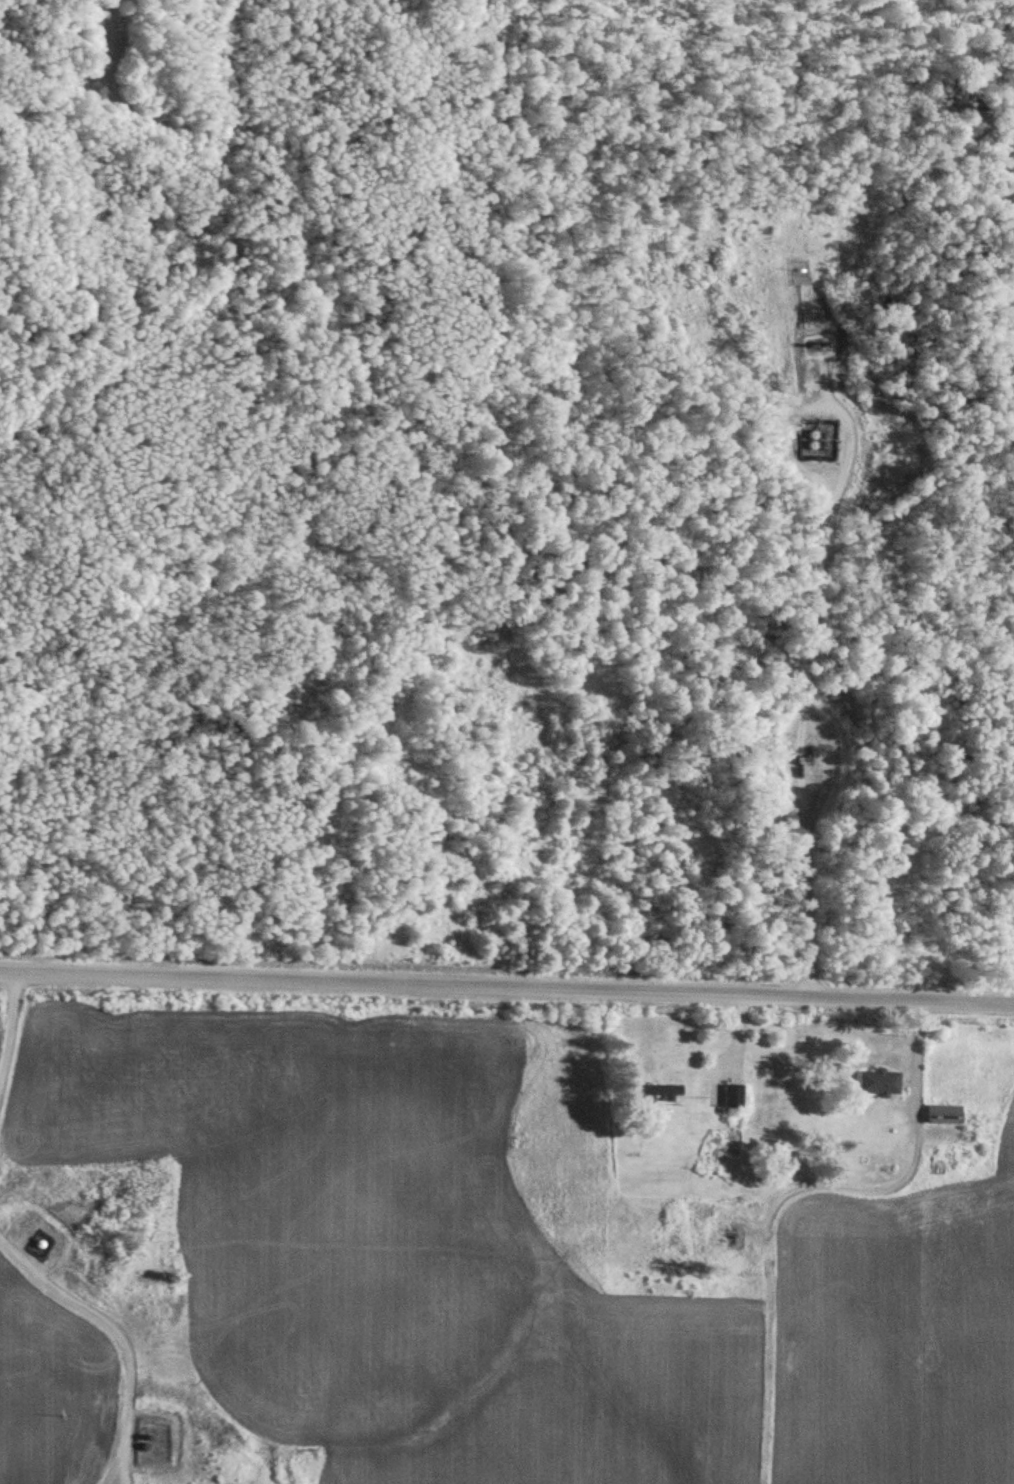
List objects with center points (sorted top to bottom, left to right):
building: (819, 444)
road: (803, 686)
petroleum well: (806, 749)
road: (507, 991)
building: (876, 1081)
building: (654, 1089)
building: (731, 1095)
building: (942, 1113)
petroleum well: (733, 1231)

